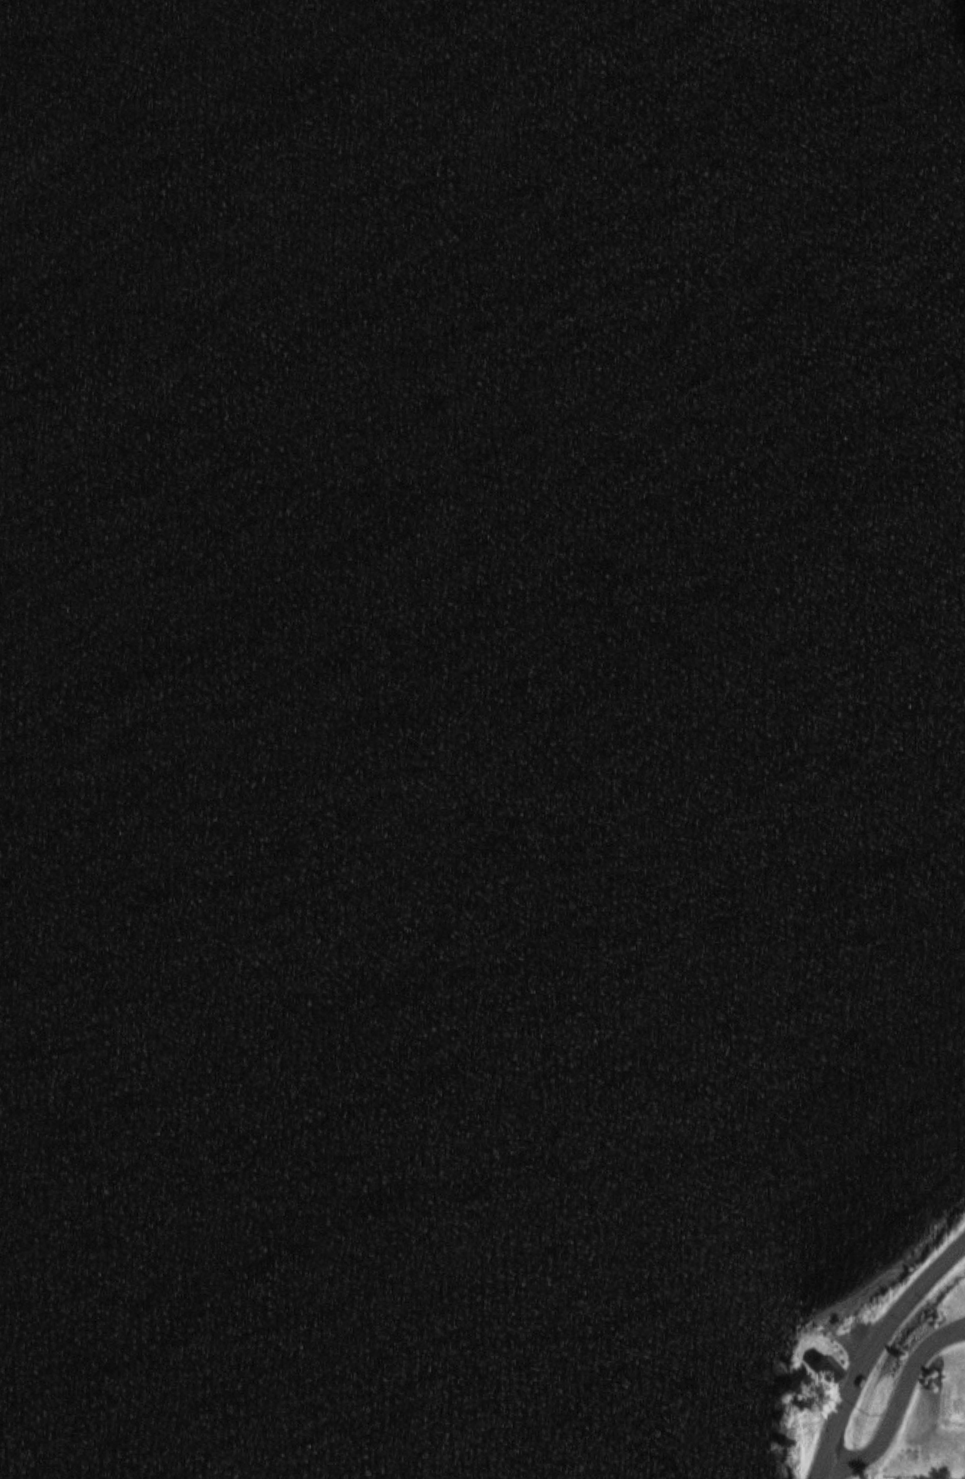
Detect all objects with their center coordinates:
road: (872, 1347)
building: (818, 1366)
road: (894, 1404)

